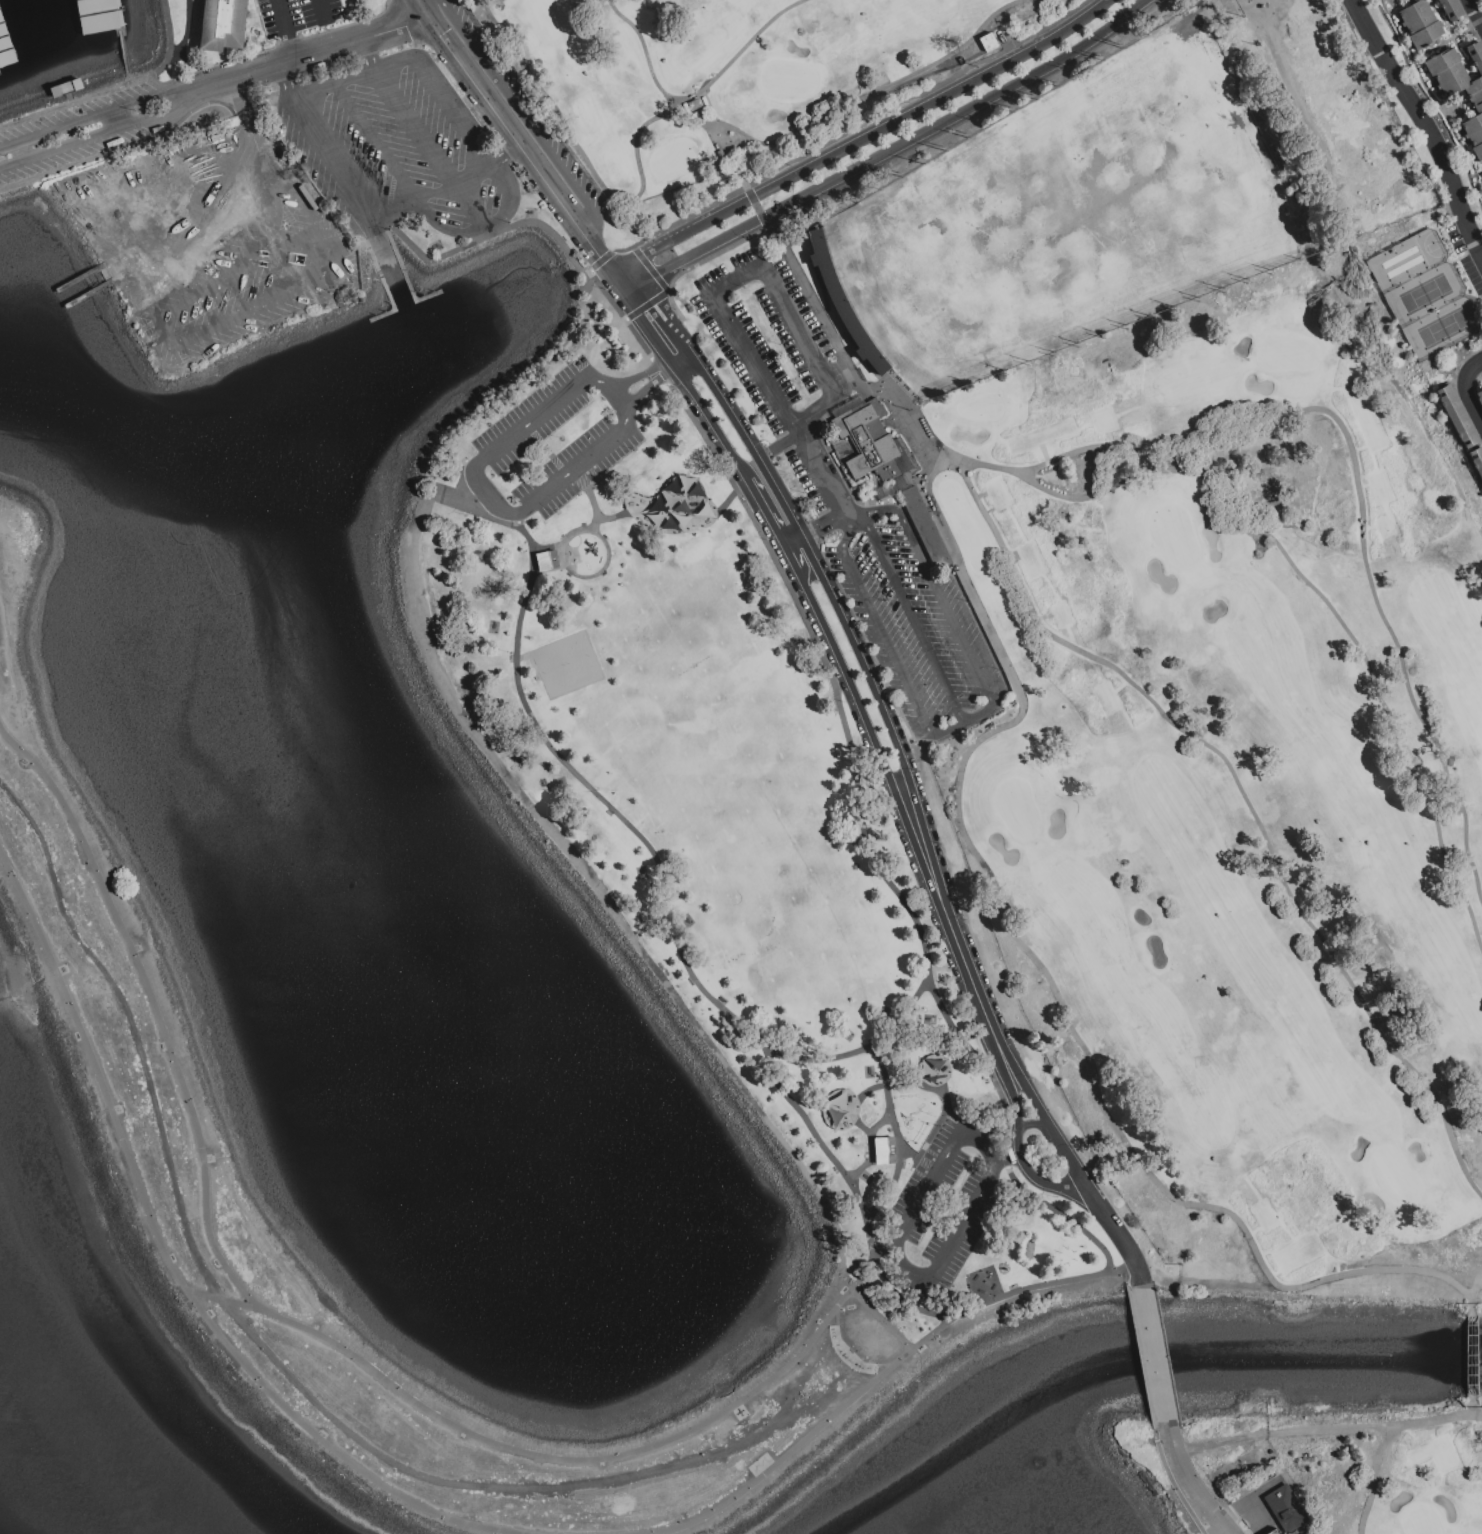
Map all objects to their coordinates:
building: (1478, 0)
road: (319, 9)
building: (1450, 9)
road: (1474, 15)
road: (282, 20)
building: (1419, 24)
building: (223, 25)
pier: (119, 31)
building: (988, 42)
road: (330, 47)
road: (290, 49)
road: (127, 73)
road: (216, 82)
building: (1461, 87)
building: (66, 88)
road: (115, 88)
road: (512, 101)
road: (312, 116)
road: (457, 122)
road: (1424, 127)
road: (512, 138)
road: (863, 139)
road: (128, 145)
road: (889, 149)
road: (503, 155)
road: (428, 193)
road: (588, 218)
road: (543, 229)
road: (468, 236)
road: (752, 272)
road: (621, 280)
building: (841, 303)
road: (167, 336)
park: (1287, 353)
road: (667, 354)
road: (674, 364)
road: (658, 370)
road: (1463, 387)
road: (507, 388)
building: (1479, 398)
road: (891, 400)
park: (981, 408)
building: (1457, 416)
road: (784, 443)
parking lot: (545, 451)
road: (763, 454)
building: (1476, 460)
building: (887, 468)
road: (820, 473)
road: (482, 495)
road: (479, 513)
road: (610, 518)
road: (828, 520)
park: (1173, 536)
road: (797, 538)
road: (545, 549)
park: (1118, 556)
building: (546, 560)
road: (561, 561)
road: (821, 575)
road: (800, 585)
road: (941, 599)
park: (566, 667)
road: (946, 730)
road: (3, 741)
park: (1016, 810)
park: (764, 908)
road: (959, 962)
road: (158, 1018)
road: (885, 1033)
road: (978, 1066)
road: (1001, 1077)
road: (1031, 1099)
road: (888, 1108)
road: (1030, 1124)
building: (883, 1150)
road: (1003, 1159)
road: (844, 1176)
park: (1394, 1176)
road: (1032, 1179)
road: (815, 1189)
parking lot: (939, 1212)
road: (1059, 1213)
road: (1108, 1222)
road: (892, 1255)
road: (172, 1269)
road: (998, 1297)
road: (901, 1300)
road: (881, 1319)
road: (1470, 1355)
road: (282, 1368)
road: (807, 1376)
park: (1385, 1471)
road: (570, 1504)
building: (1284, 1508)
road: (1208, 1517)
park: (1420, 1521)
building: (1272, 1531)

